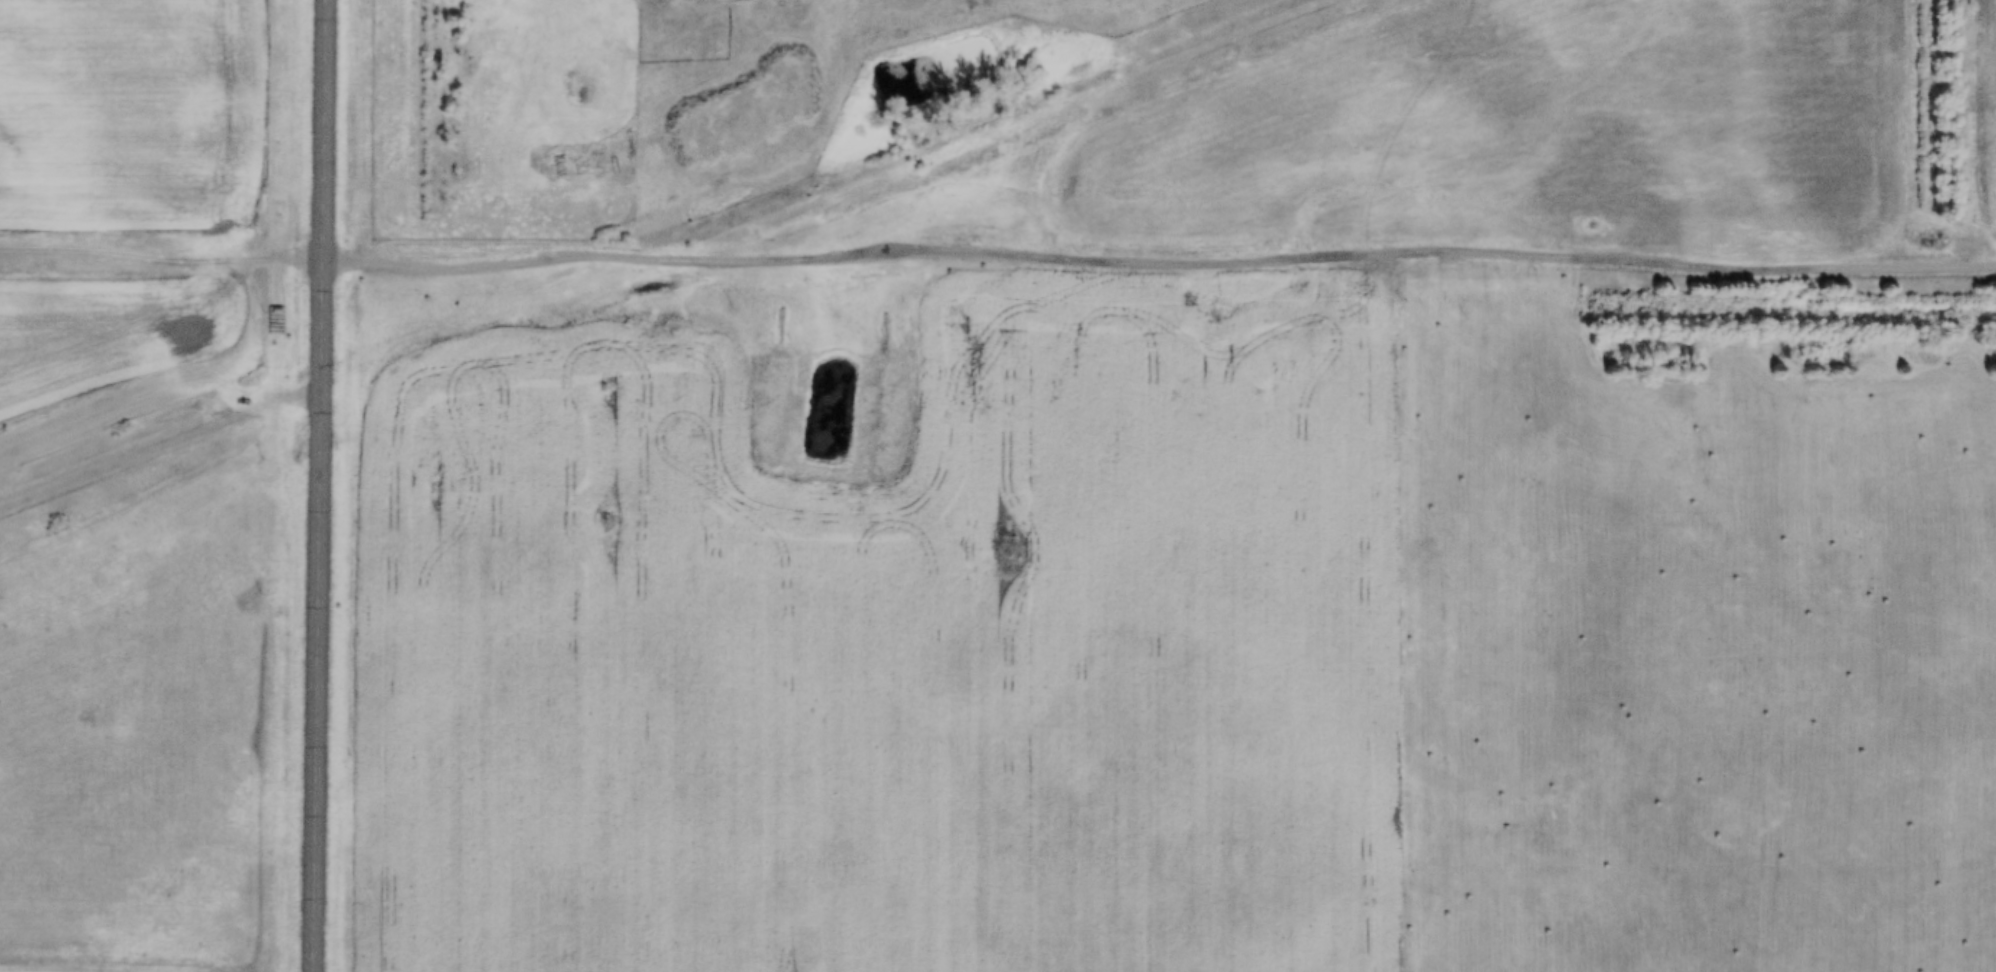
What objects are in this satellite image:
road: (162, 258)
road: (1158, 264)
road: (320, 485)

